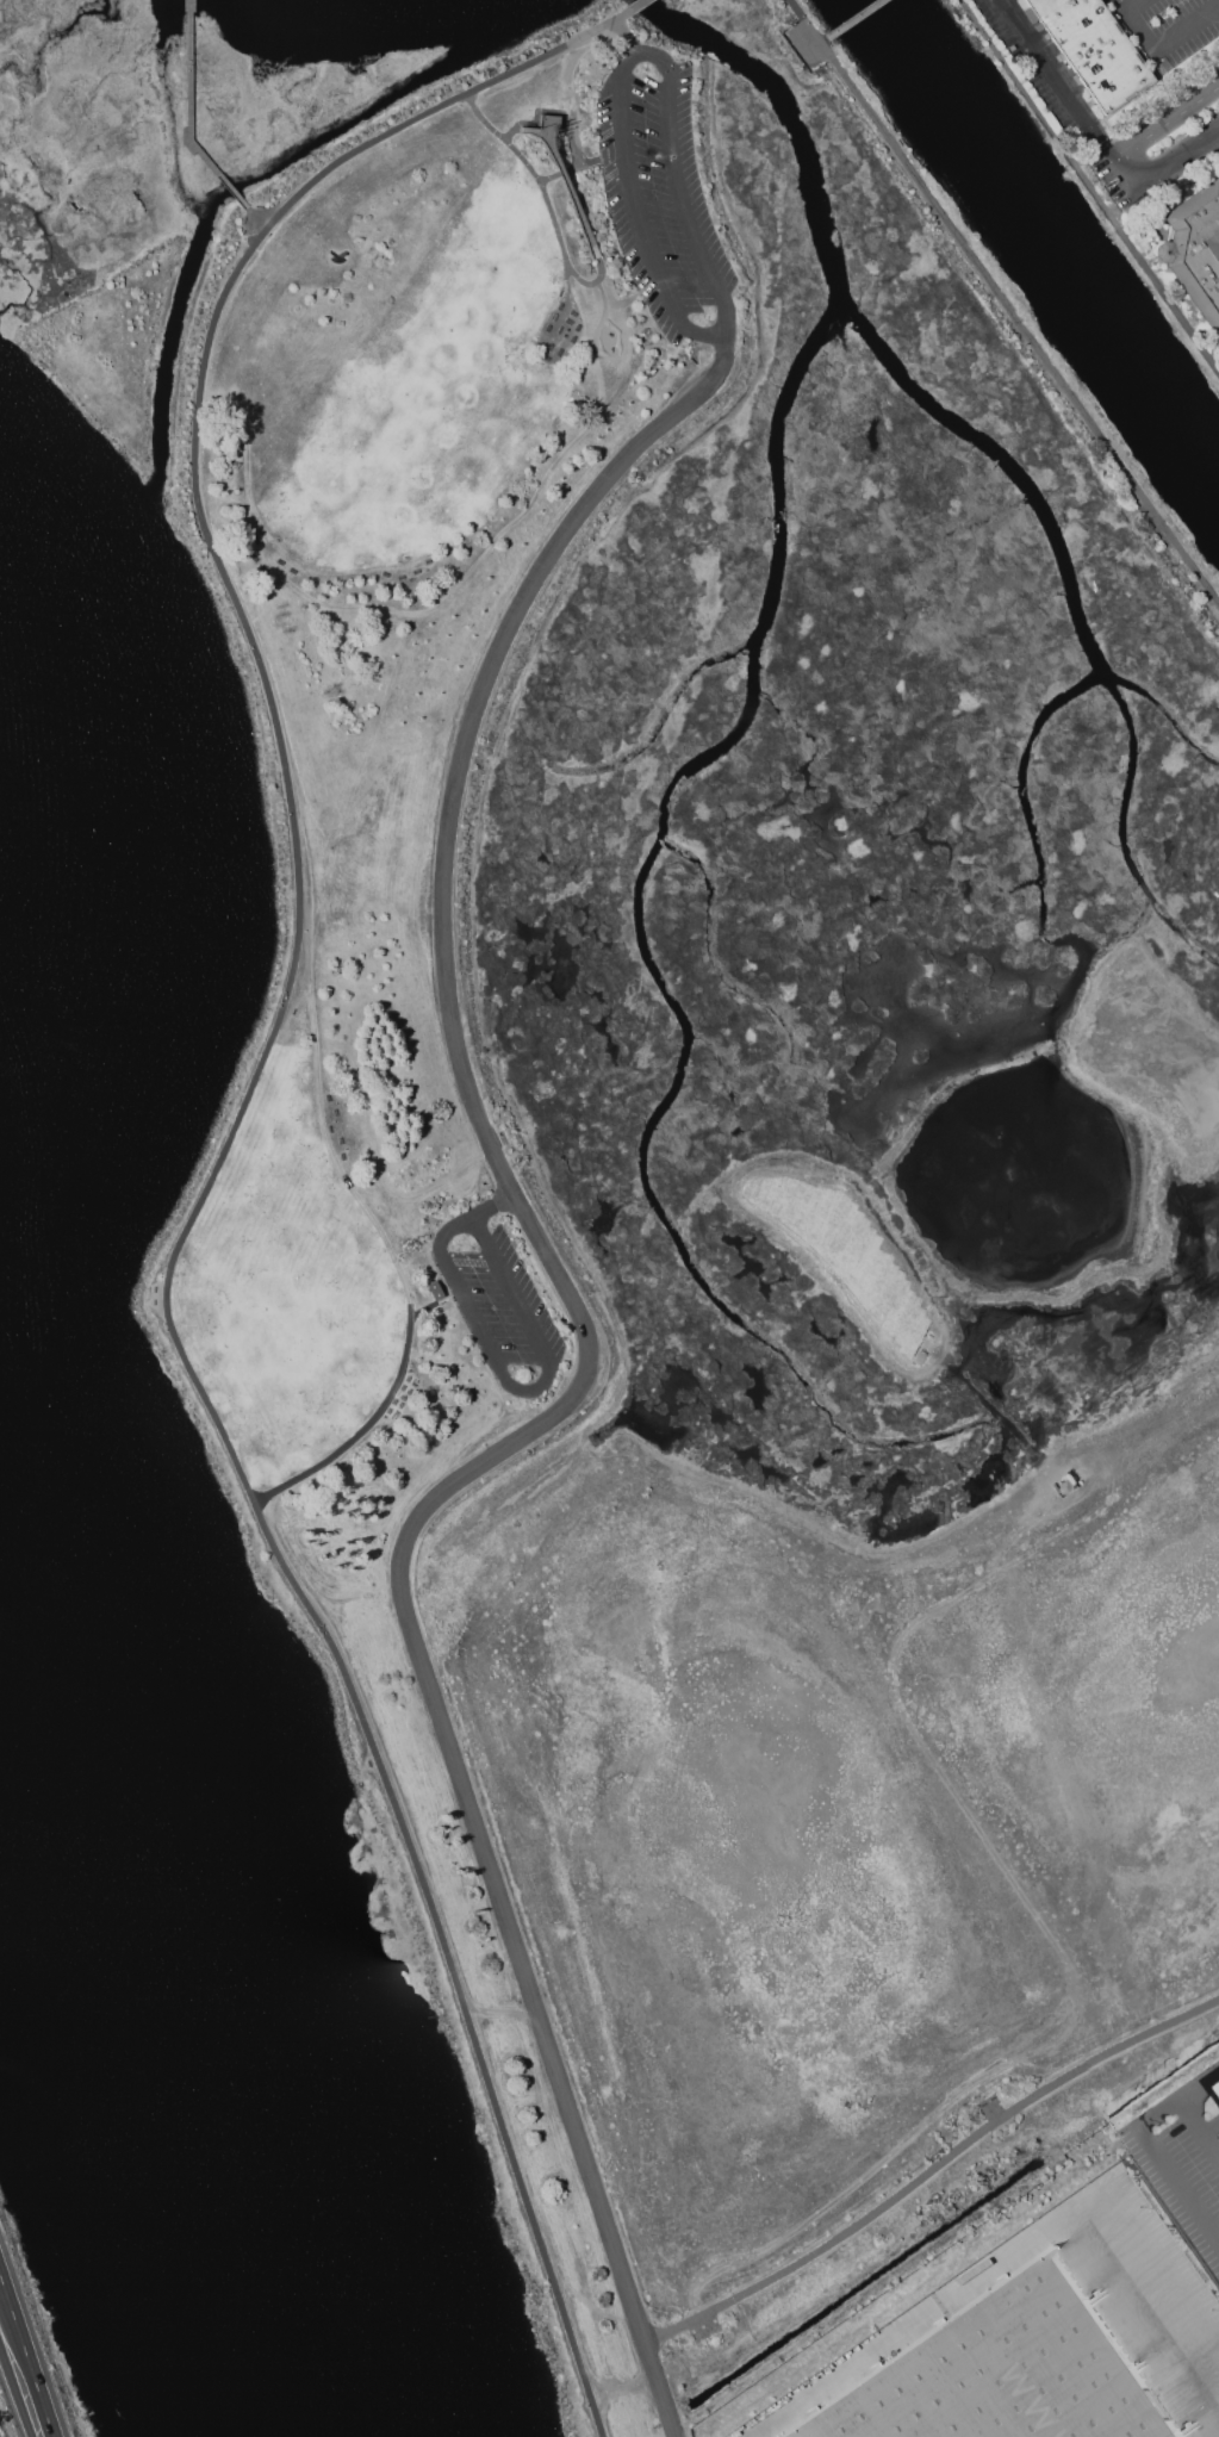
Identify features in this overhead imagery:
road: (632, 6)
road: (1113, 7)
road: (1128, 7)
road: (852, 18)
road: (623, 38)
road: (822, 39)
road: (1163, 44)
building: (1094, 49)
road: (632, 63)
road: (1053, 82)
road: (549, 111)
pier: (191, 119)
road: (1164, 128)
road: (531, 131)
road: (1214, 141)
road: (1174, 160)
road: (581, 164)
road: (1119, 179)
road: (1089, 186)
road: (568, 192)
parking lot: (667, 198)
road: (256, 220)
building: (1195, 250)
road: (564, 256)
road: (601, 279)
road: (1003, 307)
park: (609, 341)
road: (332, 1138)
road: (223, 1148)
park: (701, 1155)
road: (496, 1207)
building: (435, 1291)
parking lot: (503, 1303)
road: (431, 1304)
road: (583, 1384)
road: (521, 1390)
road: (360, 1430)
building: (1218, 2077)
road: (1200, 2085)
road: (1159, 2114)
road: (1200, 2125)
parking lot: (1182, 2166)
road: (931, 2168)
road: (1178, 2187)
road: (1009, 2252)
parking lot: (1132, 2269)
road: (23, 2369)
building: (996, 2370)
road: (623, 2387)
airport: (1, 2430)

